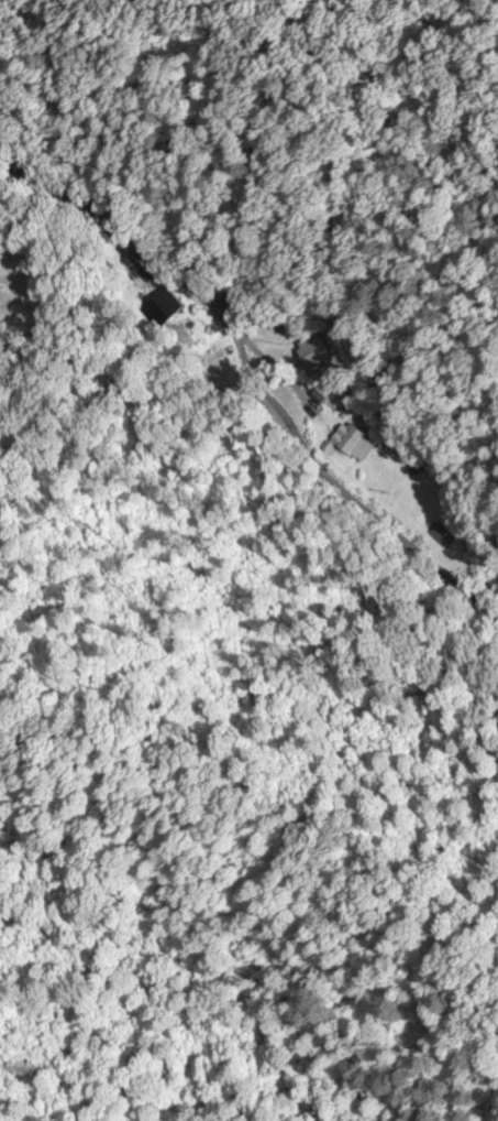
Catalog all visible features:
road: (259, 384)

